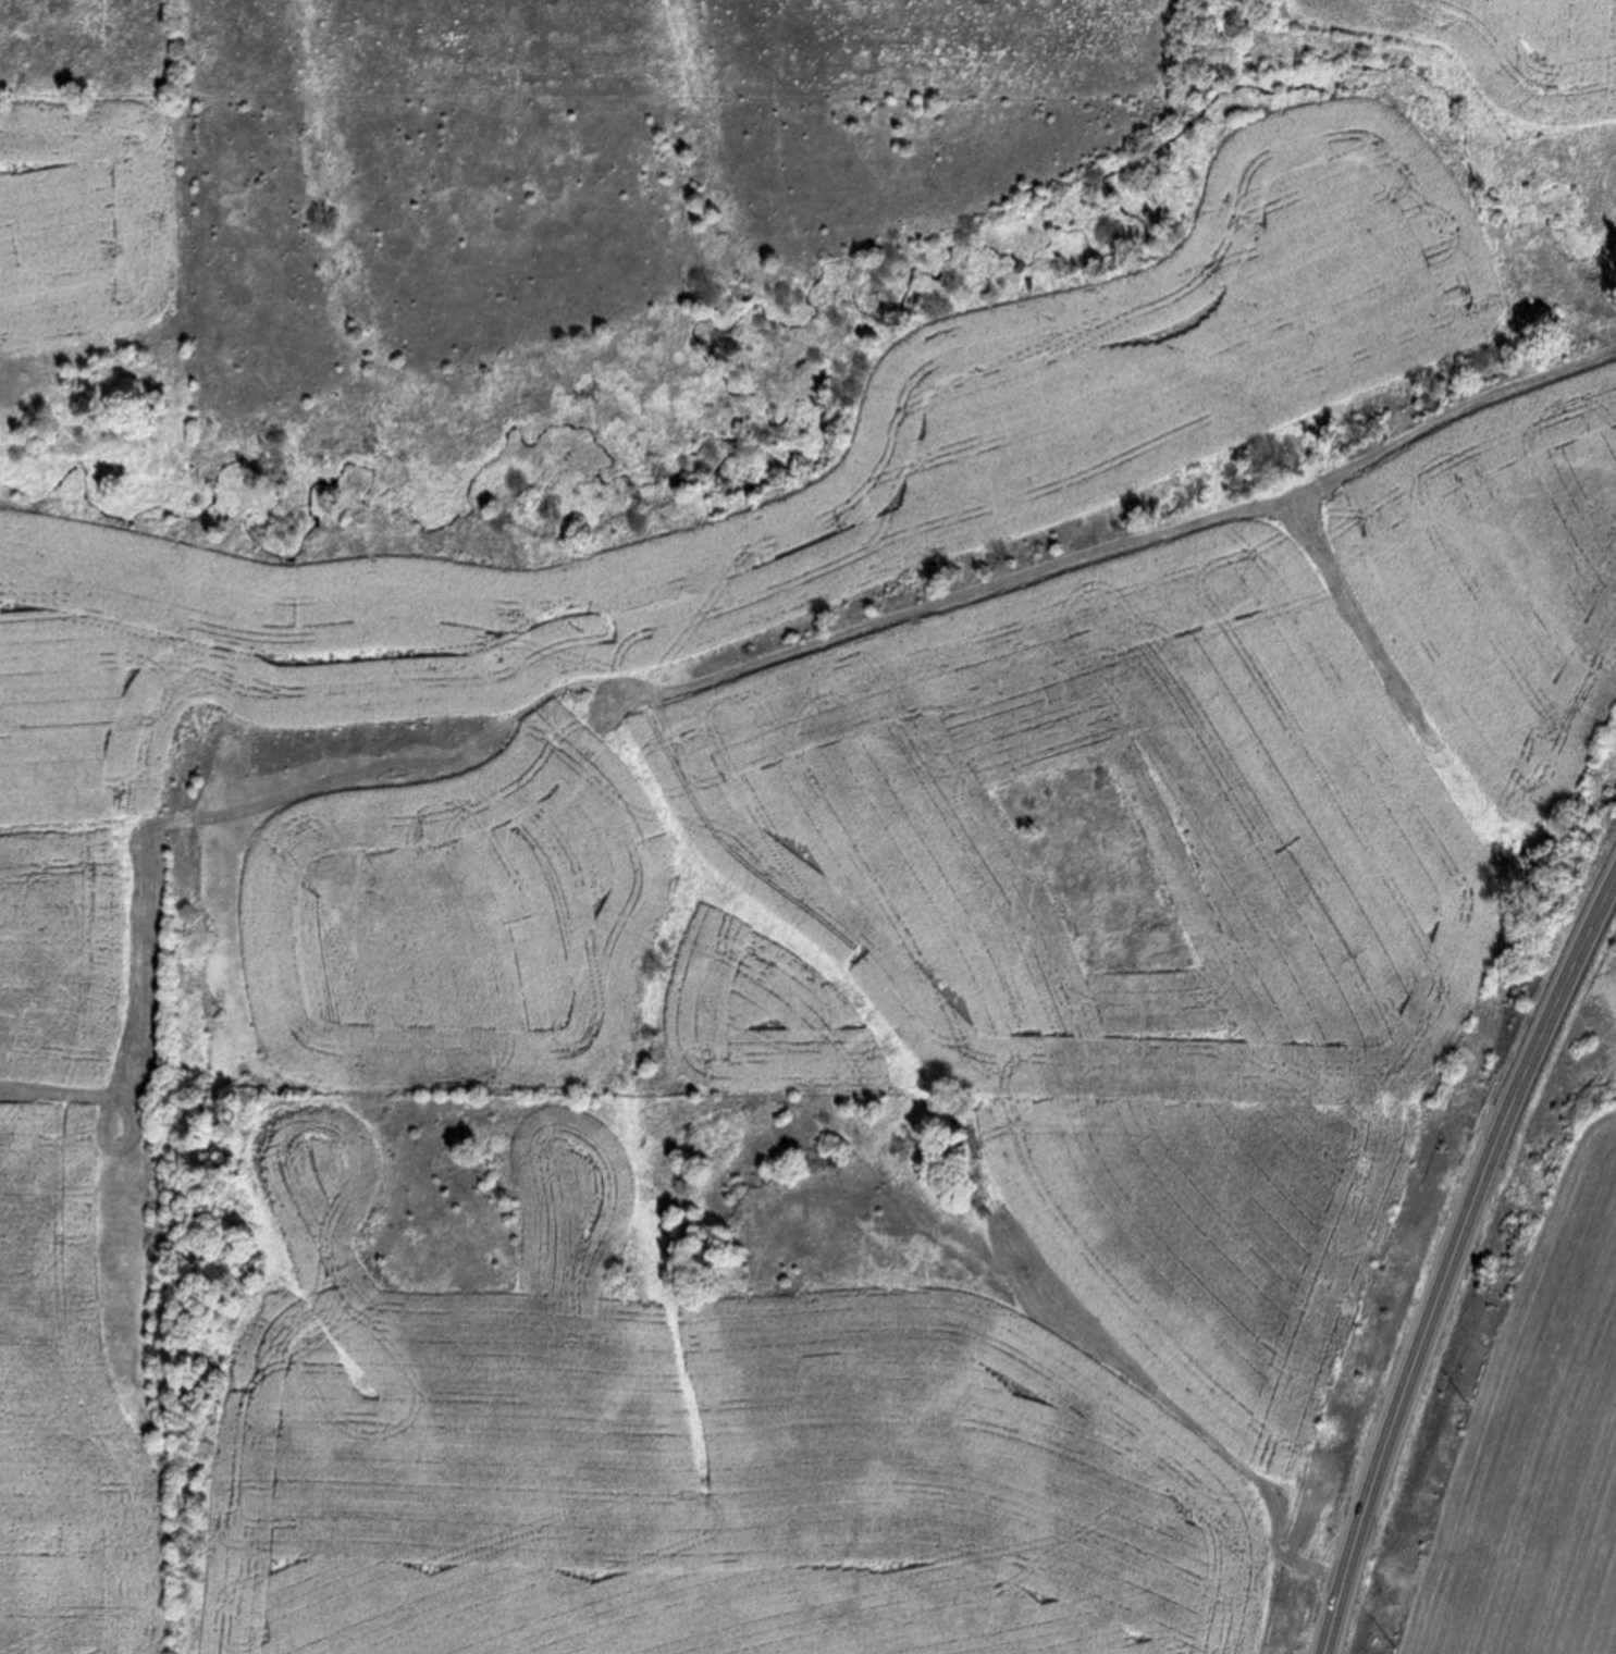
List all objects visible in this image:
road: (1455, 1259)

